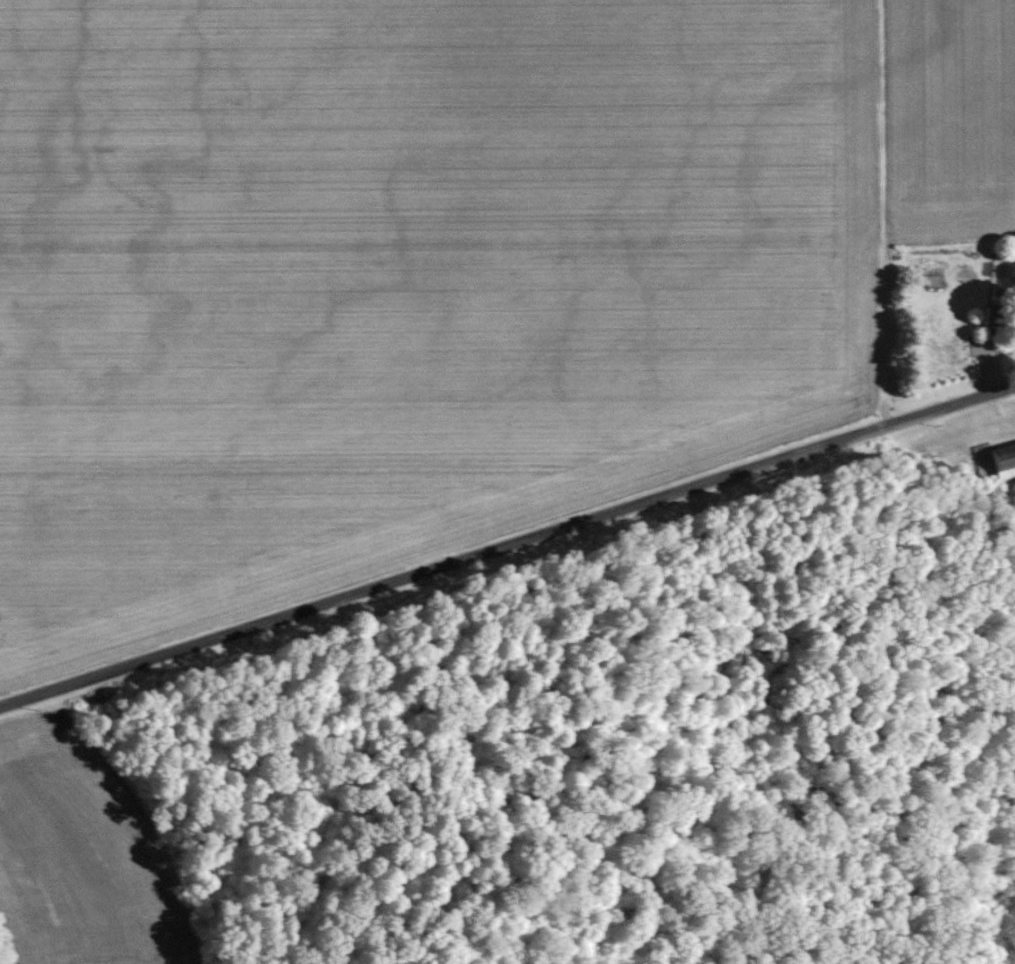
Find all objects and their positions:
building: (933, 281)
building: (995, 317)
building: (1005, 464)
road: (506, 539)

